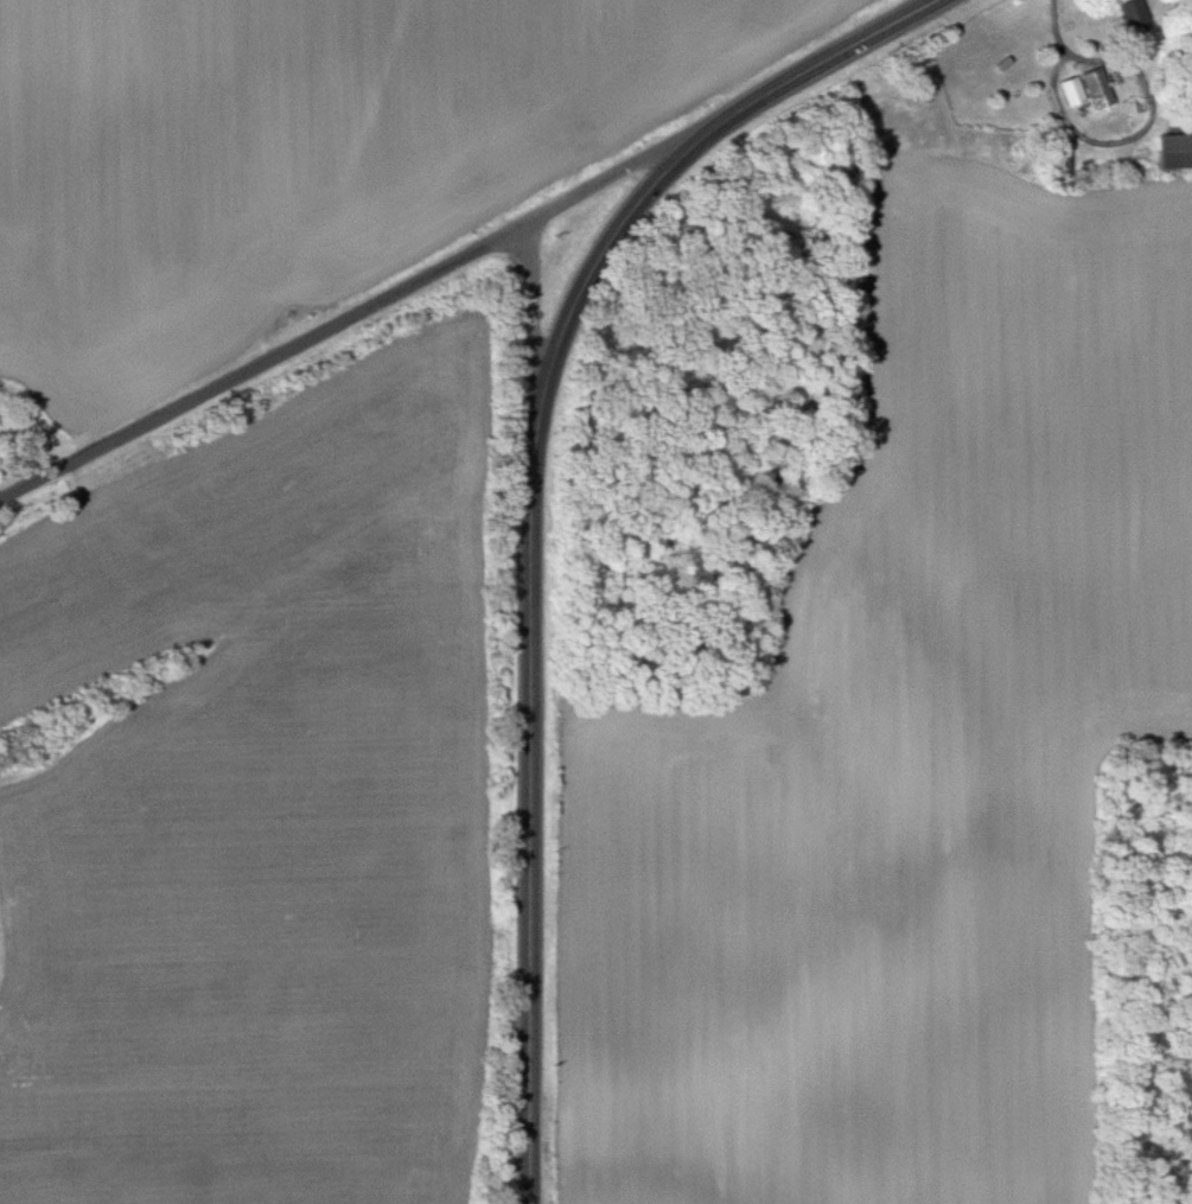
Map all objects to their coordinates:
building: (1136, 17)
building: (1099, 88)
building: (1073, 93)
building: (1175, 152)
building: (1060, 163)
road: (383, 299)
road: (531, 339)
road: (531, 509)

